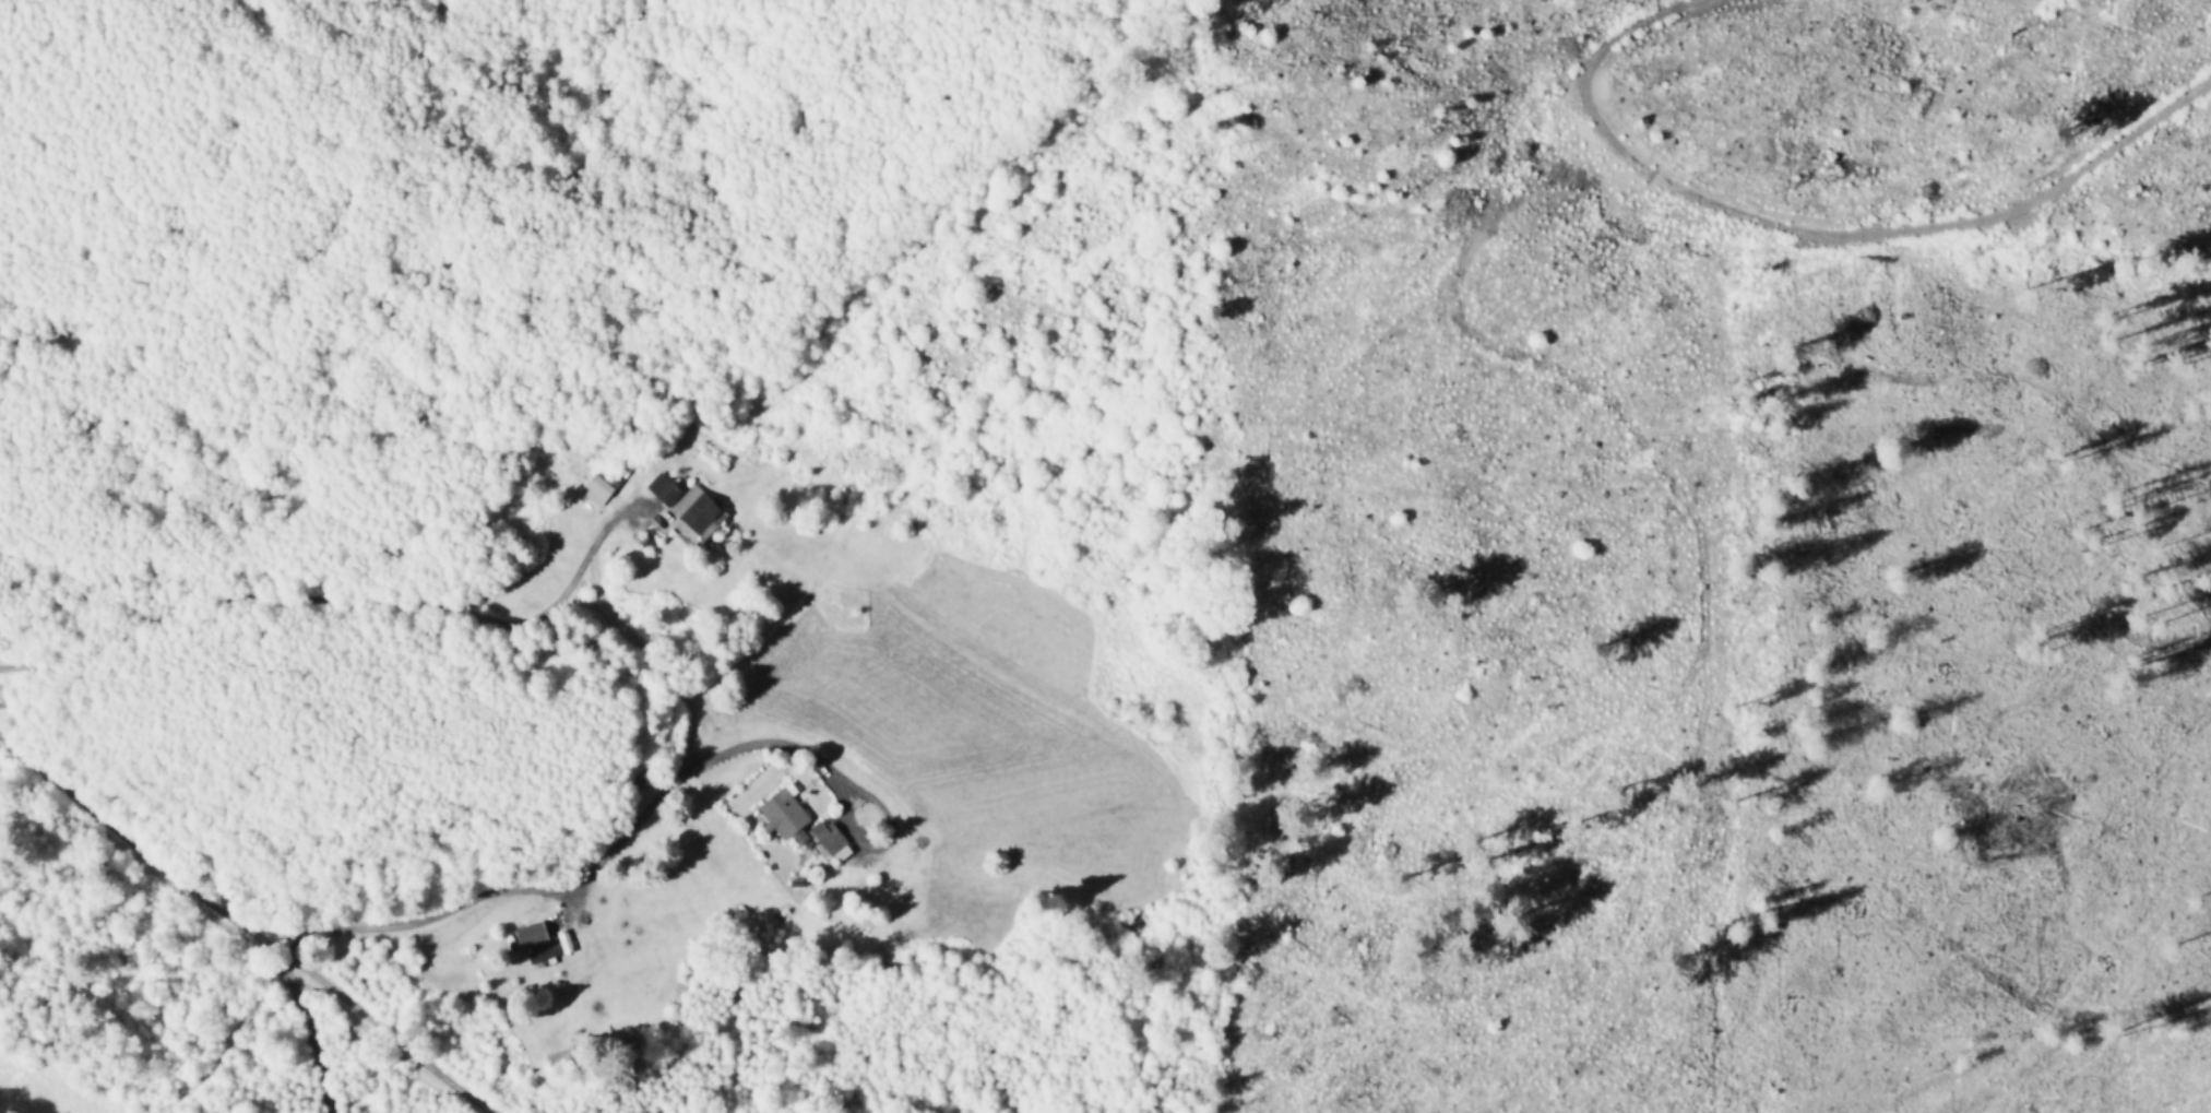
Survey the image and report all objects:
building: (596, 487)
building: (662, 487)
building: (697, 512)
road: (341, 606)
building: (783, 810)
building: (827, 834)
building: (841, 851)
road: (610, 861)
road: (248, 921)
building: (530, 933)
building: (552, 948)
road: (1115, 1018)

